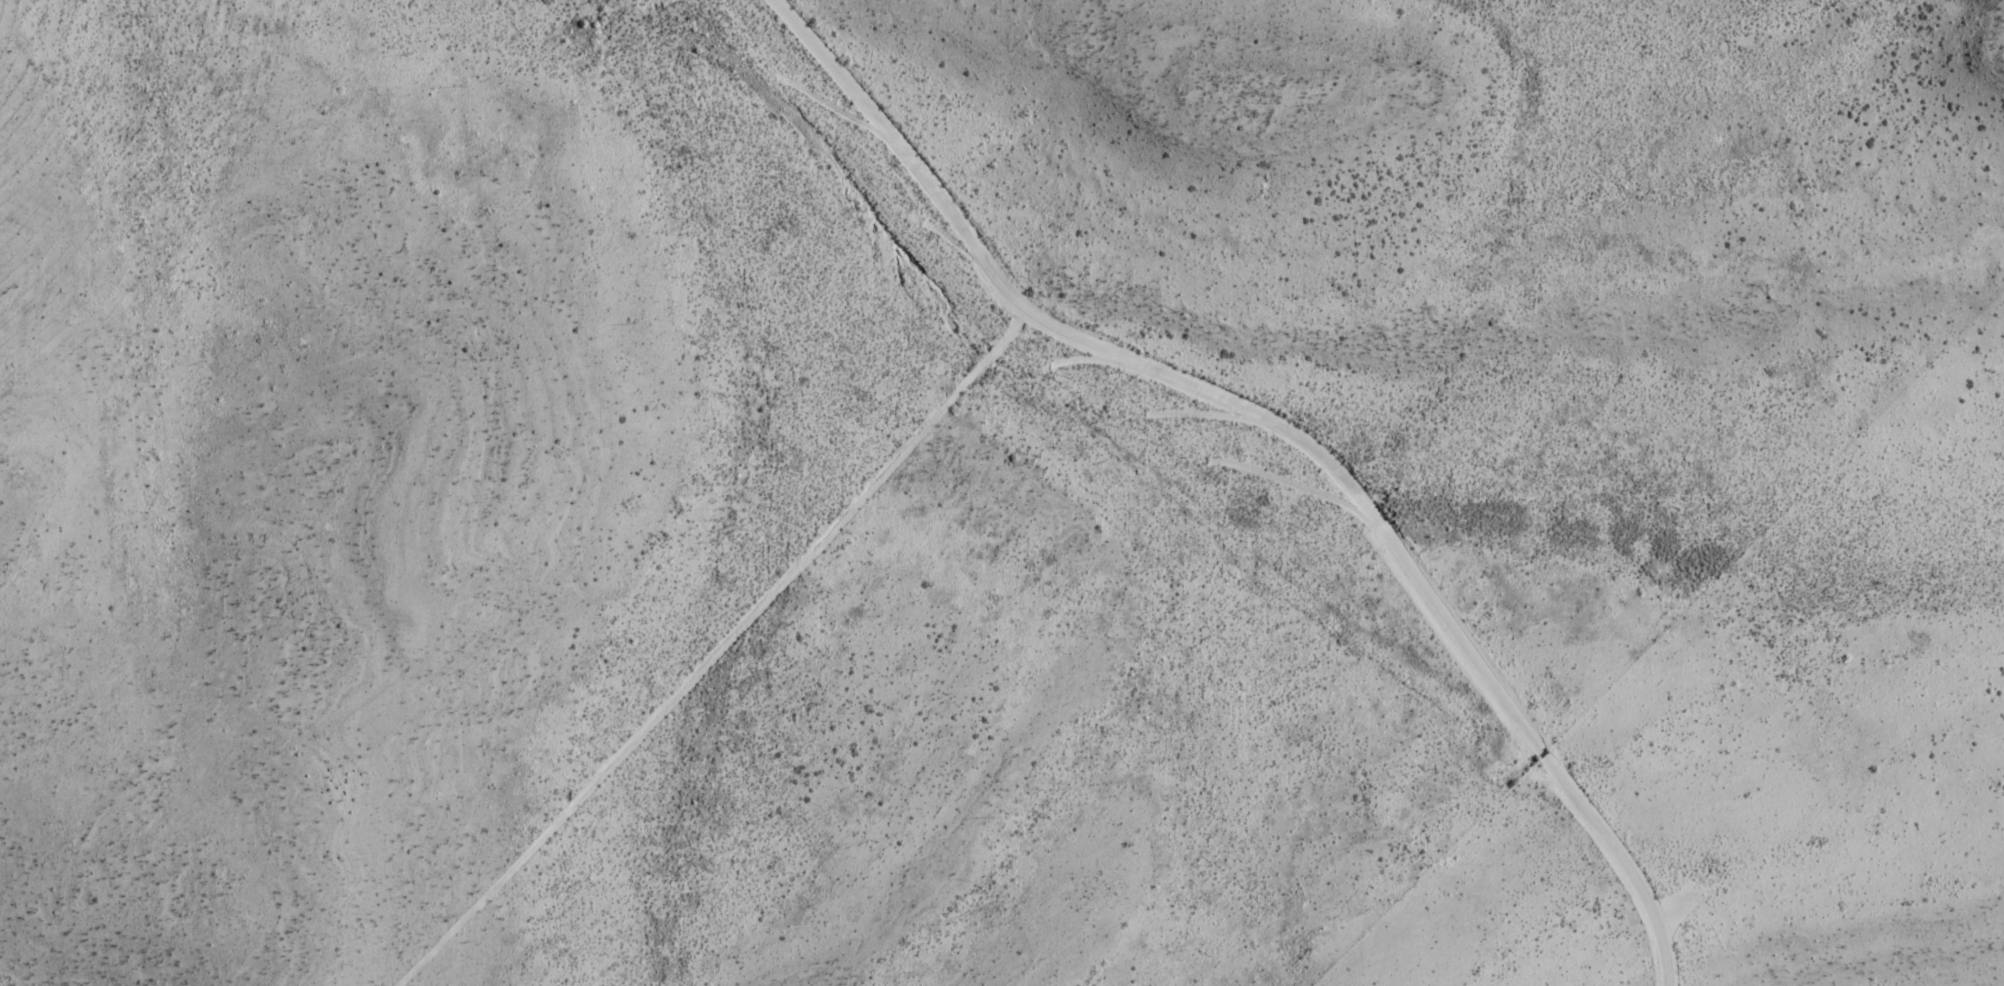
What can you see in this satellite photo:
road: (1283, 430)

